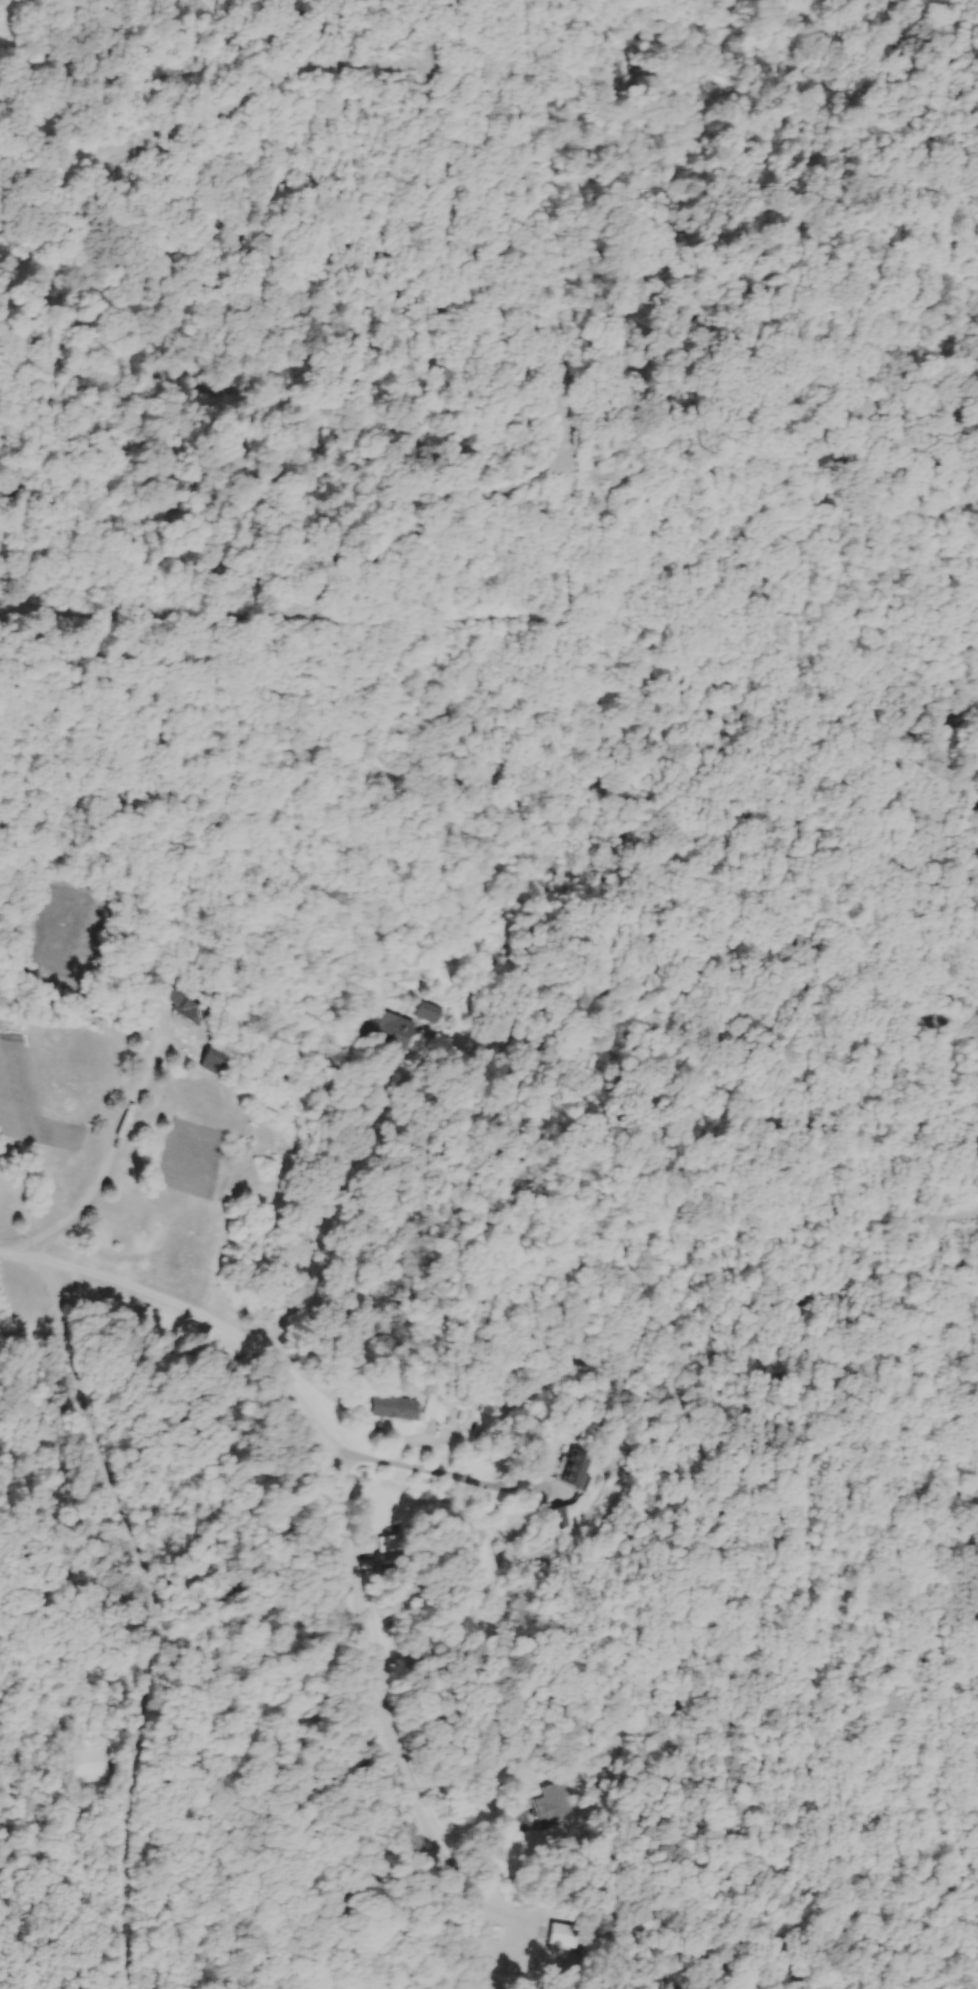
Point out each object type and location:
road: (103, 1159)
road: (343, 1189)
road: (347, 1407)
road: (446, 1471)
road: (361, 1522)
road: (158, 1612)

